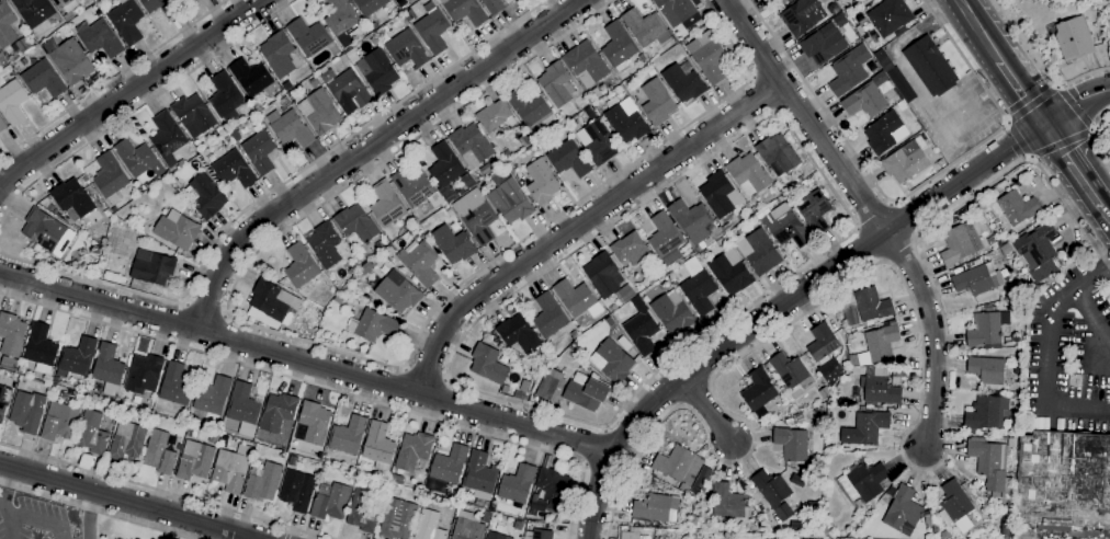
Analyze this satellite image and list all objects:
building: (197, 0)
building: (767, 0)
building: (785, 0)
building: (789, 0)
building: (186, 1)
building: (859, 1)
building: (370, 5)
building: (162, 7)
building: (494, 7)
building: (67, 8)
building: (676, 10)
building: (465, 11)
building: (35, 12)
building: (806, 15)
building: (890, 18)
building: (126, 21)
building: (343, 22)
building: (5, 25)
building: (1095, 25)
building: (374, 26)
building: (646, 27)
building: (432, 28)
road: (979, 28)
building: (99, 38)
building: (310, 38)
building: (1074, 38)
building: (824, 45)
building: (618, 46)
building: (404, 48)
building: (281, 55)
building: (642, 58)
building: (711, 58)
building: (343, 59)
building: (71, 61)
building: (2, 62)
building: (586, 64)
building: (886, 65)
road: (1042, 65)
building: (930, 67)
building: (374, 69)
building: (849, 70)
building: (650, 71)
building: (250, 77)
building: (43, 79)
road: (112, 79)
building: (683, 81)
building: (314, 82)
building: (557, 84)
building: (287, 87)
road: (918, 88)
building: (347, 90)
road: (1022, 90)
road: (128, 92)
building: (596, 93)
road: (762, 95)
building: (225, 96)
building: (12, 102)
building: (284, 102)
building: (864, 102)
building: (657, 103)
road: (1030, 103)
road: (143, 104)
road: (1076, 104)
road: (1073, 106)
building: (258, 108)
building: (531, 108)
building: (322, 112)
building: (194, 115)
road: (805, 116)
building: (496, 117)
traffic signals: (1044, 123)
building: (626, 124)
building: (2, 125)
building: (575, 127)
building: (290, 128)
building: (884, 133)
building: (167, 135)
road: (1091, 135)
road: (1017, 138)
building: (597, 139)
building: (228, 140)
building: (524, 141)
road: (1060, 144)
road: (367, 148)
building: (472, 148)
building: (260, 152)
building: (778, 152)
building: (137, 159)
building: (568, 159)
building: (906, 161)
building: (181, 163)
road: (1073, 163)
building: (496, 164)
building: (235, 170)
building: (445, 170)
building: (748, 174)
building: (110, 177)
building: (541, 182)
building: (484, 184)
building: (145, 187)
building: (416, 190)
road: (271, 192)
road: (833, 192)
building: (717, 194)
road: (908, 195)
building: (204, 196)
building: (72, 197)
building: (510, 202)
building: (774, 203)
building: (50, 207)
building: (387, 208)
building: (1011, 208)
building: (113, 210)
building: (814, 211)
road: (1106, 211)
building: (106, 214)
building: (72, 215)
building: (476, 216)
road: (872, 216)
road: (581, 222)
building: (694, 222)
building: (355, 226)
building: (140, 228)
building: (726, 228)
building: (786, 228)
building: (177, 230)
building: (738, 231)
building: (47, 232)
building: (666, 240)
building: (989, 242)
building: (998, 243)
building: (453, 244)
building: (960, 244)
building: (325, 245)
building: (378, 245)
building: (1037, 246)
building: (630, 250)
building: (95, 251)
building: (758, 252)
building: (704, 254)
building: (420, 263)
building: (301, 266)
building: (152, 267)
building: (366, 268)
building: (730, 272)
building: (603, 275)
building: (650, 279)
building: (978, 282)
building: (699, 287)
building: (1016, 290)
building: (398, 293)
building: (626, 294)
building: (577, 299)
building: (270, 300)
road: (783, 303)
building: (871, 305)
road: (205, 308)
building: (988, 308)
building: (613, 309)
building: (672, 312)
building: (548, 316)
road: (1091, 317)
building: (373, 325)
building: (641, 328)
building: (985, 331)
building: (518, 334)
building: (12, 335)
road: (933, 337)
building: (881, 343)
building: (823, 345)
building: (41, 348)
road: (333, 349)
road: (1046, 353)
road: (921, 356)
building: (547, 357)
building: (77, 358)
building: (611, 362)
road: (306, 363)
building: (9, 364)
building: (488, 365)
building: (107, 366)
building: (829, 370)
building: (987, 370)
building: (1016, 370)
building: (791, 371)
road: (424, 372)
building: (144, 375)
building: (21, 385)
building: (175, 385)
building: (551, 385)
road: (328, 387)
building: (524, 387)
building: (879, 389)
building: (505, 390)
building: (586, 391)
building: (759, 393)
building: (213, 395)
building: (4, 401)
building: (243, 405)
road: (707, 409)
building: (279, 412)
building: (986, 413)
building: (25, 414)
building: (798, 416)
building: (59, 422)
building: (315, 422)
building: (865, 428)
building: (92, 433)
building: (348, 436)
building: (213, 438)
building: (225, 438)
building: (127, 440)
building: (1011, 443)
building: (791, 444)
building: (378, 446)
road: (594, 447)
building: (414, 451)
building: (159, 452)
building: (194, 460)
building: (675, 462)
building: (988, 462)
building: (448, 467)
building: (231, 468)
building: (324, 468)
building: (359, 468)
building: (479, 478)
building: (396, 479)
building: (798, 481)
building: (263, 482)
building: (862, 482)
building: (1062, 483)
building: (518, 485)
building: (552, 486)
road: (4, 491)
road: (162, 491)
building: (297, 491)
building: (453, 493)
building: (773, 493)
road: (128, 501)
building: (728, 502)
building: (331, 503)
building: (463, 506)
building: (956, 506)
building: (813, 508)
road: (95, 509)
building: (653, 509)
building: (903, 509)
building: (362, 512)
building: (532, 513)
building: (927, 515)
building: (486, 517)
road: (27, 519)
building: (398, 519)
parking lot: (34, 520)
building: (529, 525)
building: (429, 526)
building: (519, 526)
building: (797, 526)
building: (1006, 526)
building: (466, 527)
road: (283, 529)
building: (936, 530)
building: (824, 531)
building: (542, 534)
building: (627, 535)
road: (281, 536)
building: (496, 536)
parking lot: (76, 538)

